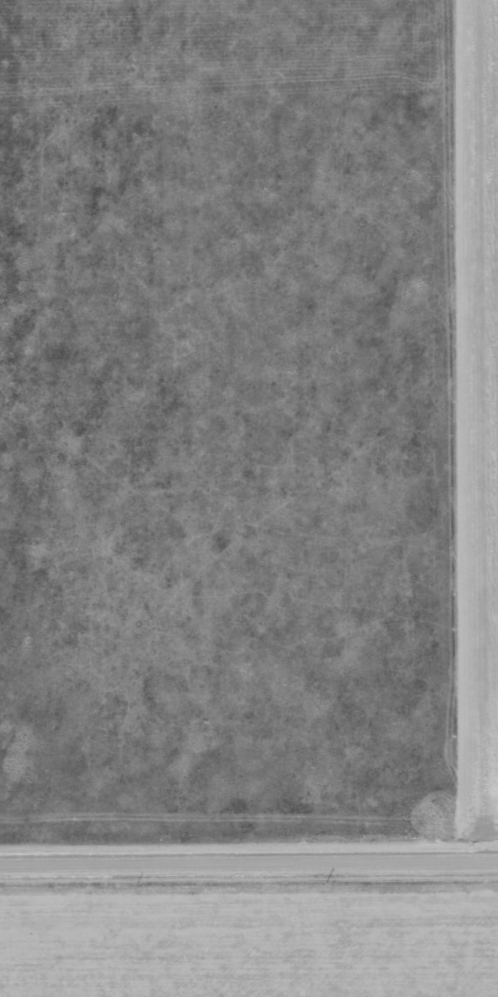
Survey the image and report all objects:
road: (249, 867)

